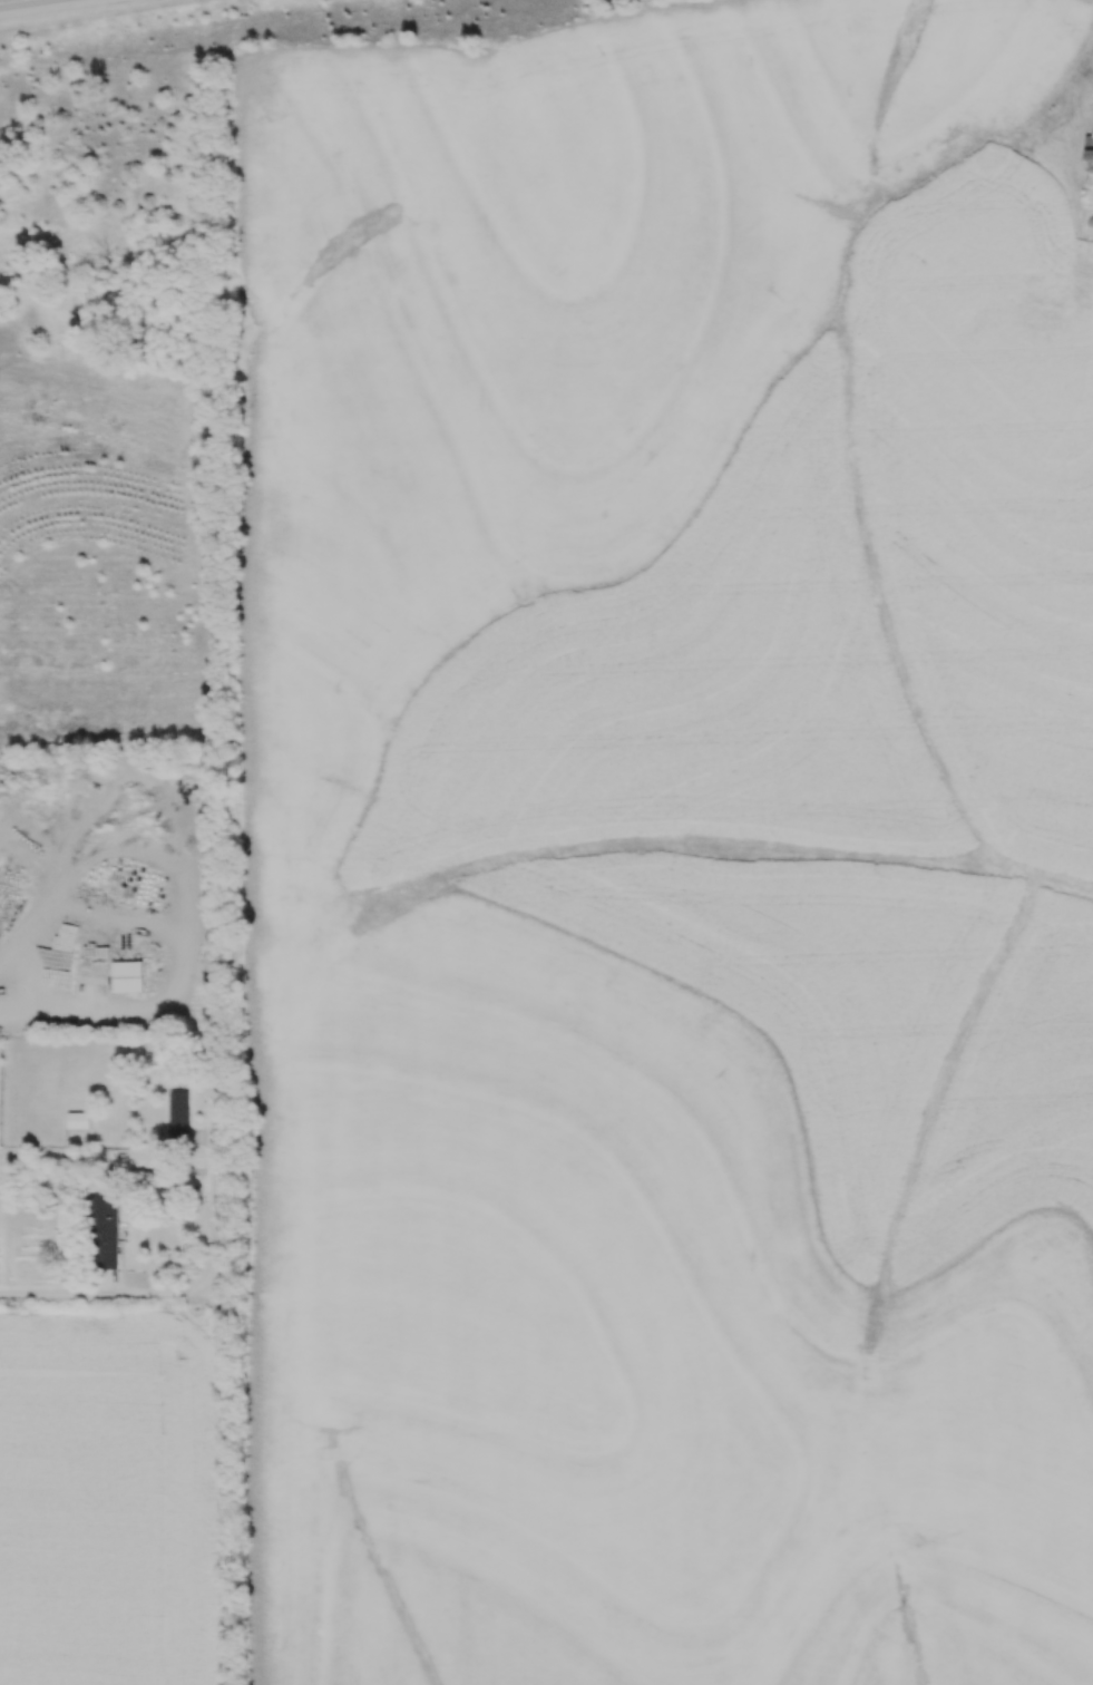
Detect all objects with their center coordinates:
road: (29, 4)
building: (1089, 157)
crop: (675, 851)
building: (127, 975)
building: (177, 1113)
building: (77, 1119)
building: (104, 1230)
road: (189, 1287)

